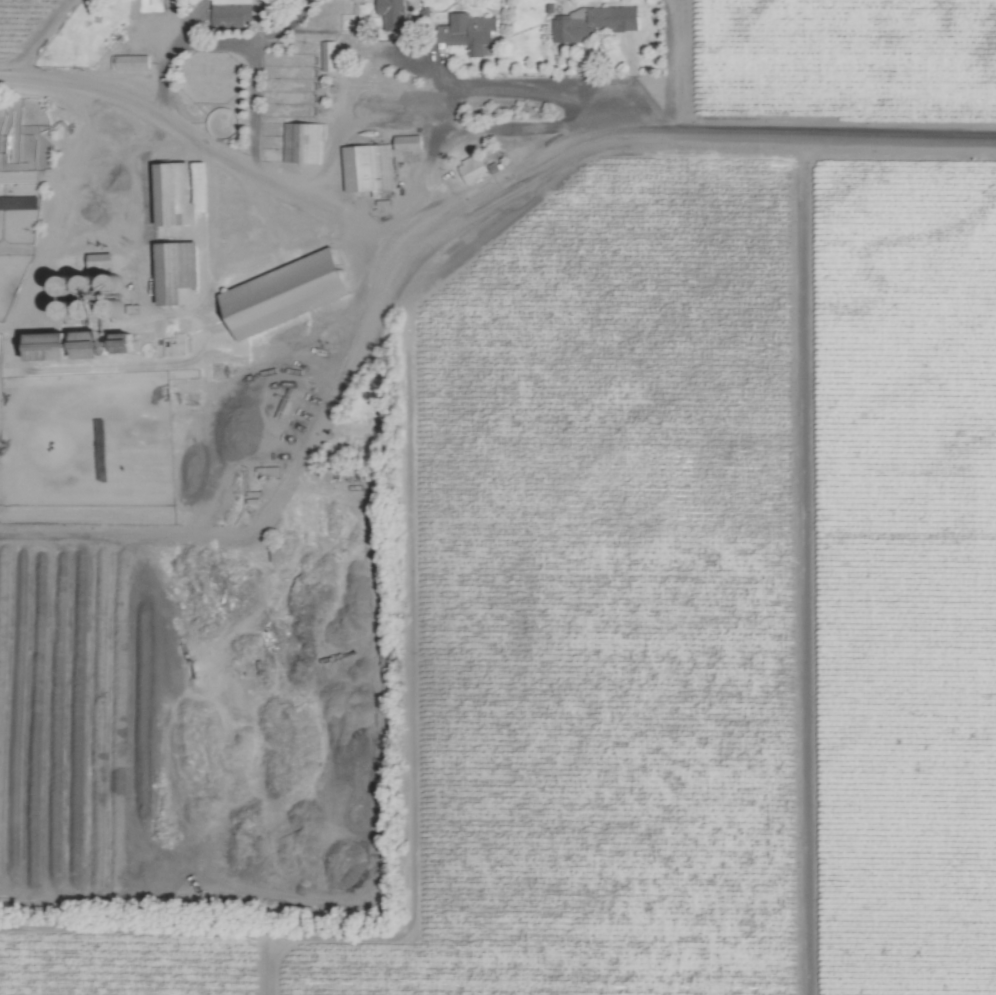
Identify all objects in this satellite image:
building: (389, 11)
building: (230, 12)
building: (590, 22)
road: (284, 28)
building: (471, 31)
road: (40, 38)
road: (176, 42)
building: (329, 44)
building: (130, 61)
road: (677, 67)
road: (467, 82)
road: (253, 116)
road: (506, 129)
building: (302, 141)
building: (367, 167)
building: (174, 186)
road: (516, 195)
building: (284, 292)
crop: (498, 497)

